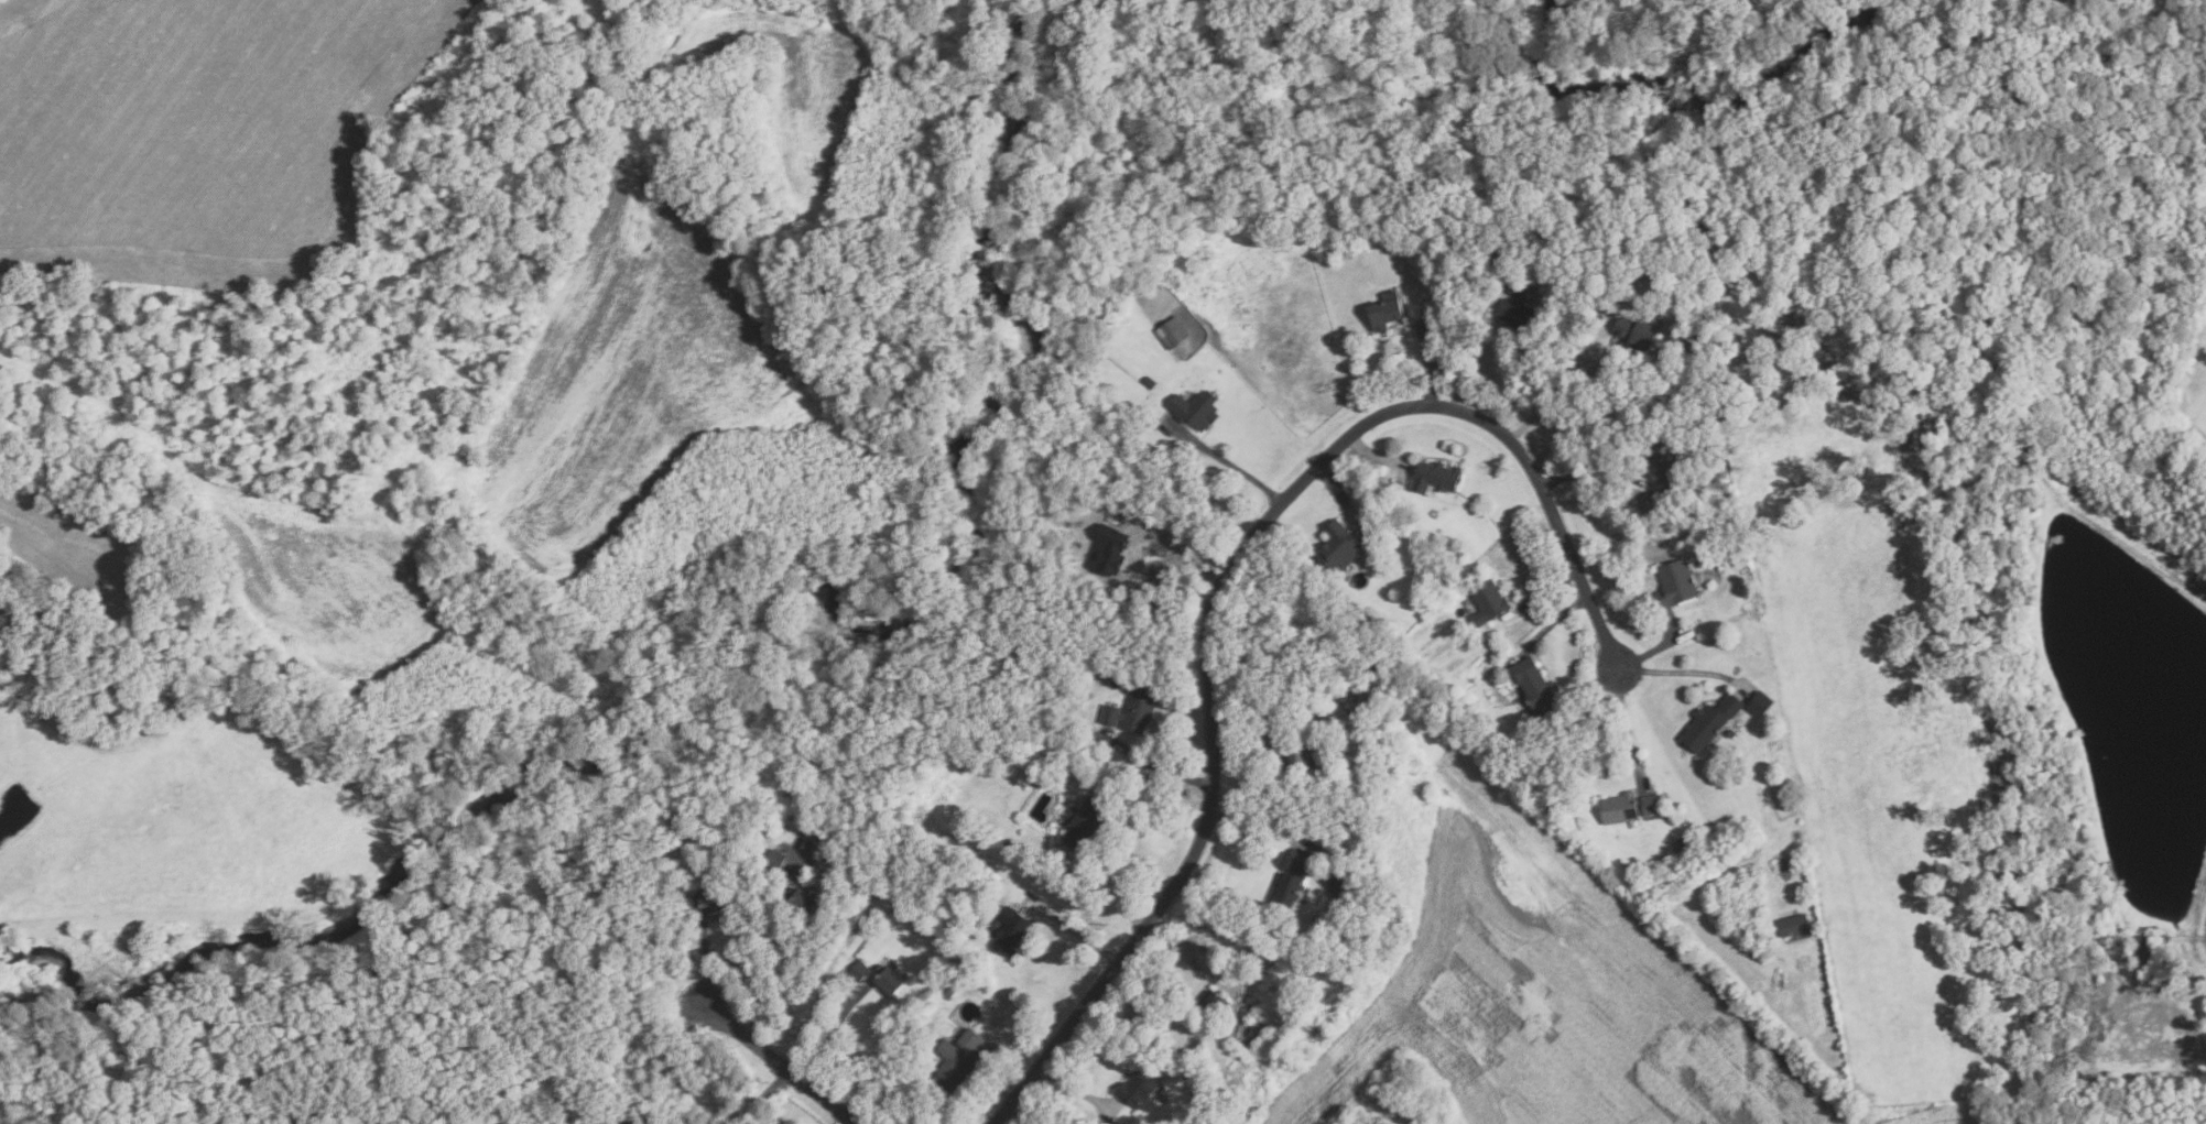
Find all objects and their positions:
building: (1521, 308)
building: (1384, 310)
building: (1693, 325)
building: (1172, 332)
building: (1637, 335)
building: (1684, 338)
building: (1696, 341)
road: (1476, 343)
road: (1430, 361)
building: (1148, 382)
road: (1556, 395)
building: (1195, 410)
road: (1376, 451)
building: (1662, 451)
road: (1230, 462)
road: (1587, 471)
building: (1435, 476)
road: (1333, 485)
building: (1337, 545)
building: (1110, 548)
road: (1177, 548)
road: (1228, 577)
building: (1675, 585)
building: (1488, 601)
road: (1558, 621)
road: (1655, 648)
road: (1673, 673)
building: (1536, 688)
building: (1132, 710)
building: (1709, 721)
road: (1628, 724)
building: (1730, 731)
building: (1050, 755)
building: (1295, 757)
road: (1154, 766)
building: (1652, 804)
building: (1618, 807)
building: (1084, 820)
road: (1260, 828)
building: (1681, 847)
building: (773, 860)
building: (817, 866)
building: (1289, 881)
building: (1338, 884)
road: (1102, 888)
building: (801, 901)
building: (705, 902)
building: (1794, 924)
road: (1073, 927)
building: (1009, 931)
building: (1347, 934)
road: (768, 947)
road: (1187, 958)
road: (708, 968)
building: (858, 970)
building: (888, 980)
building: (947, 993)
building: (1213, 1005)
road: (832, 1034)
building: (1281, 1046)
building: (1250, 1051)
building: (957, 1059)
road: (779, 1066)
road: (1003, 1073)
road: (1073, 1088)
building: (1137, 1088)
road: (762, 1098)
road: (1019, 1115)

